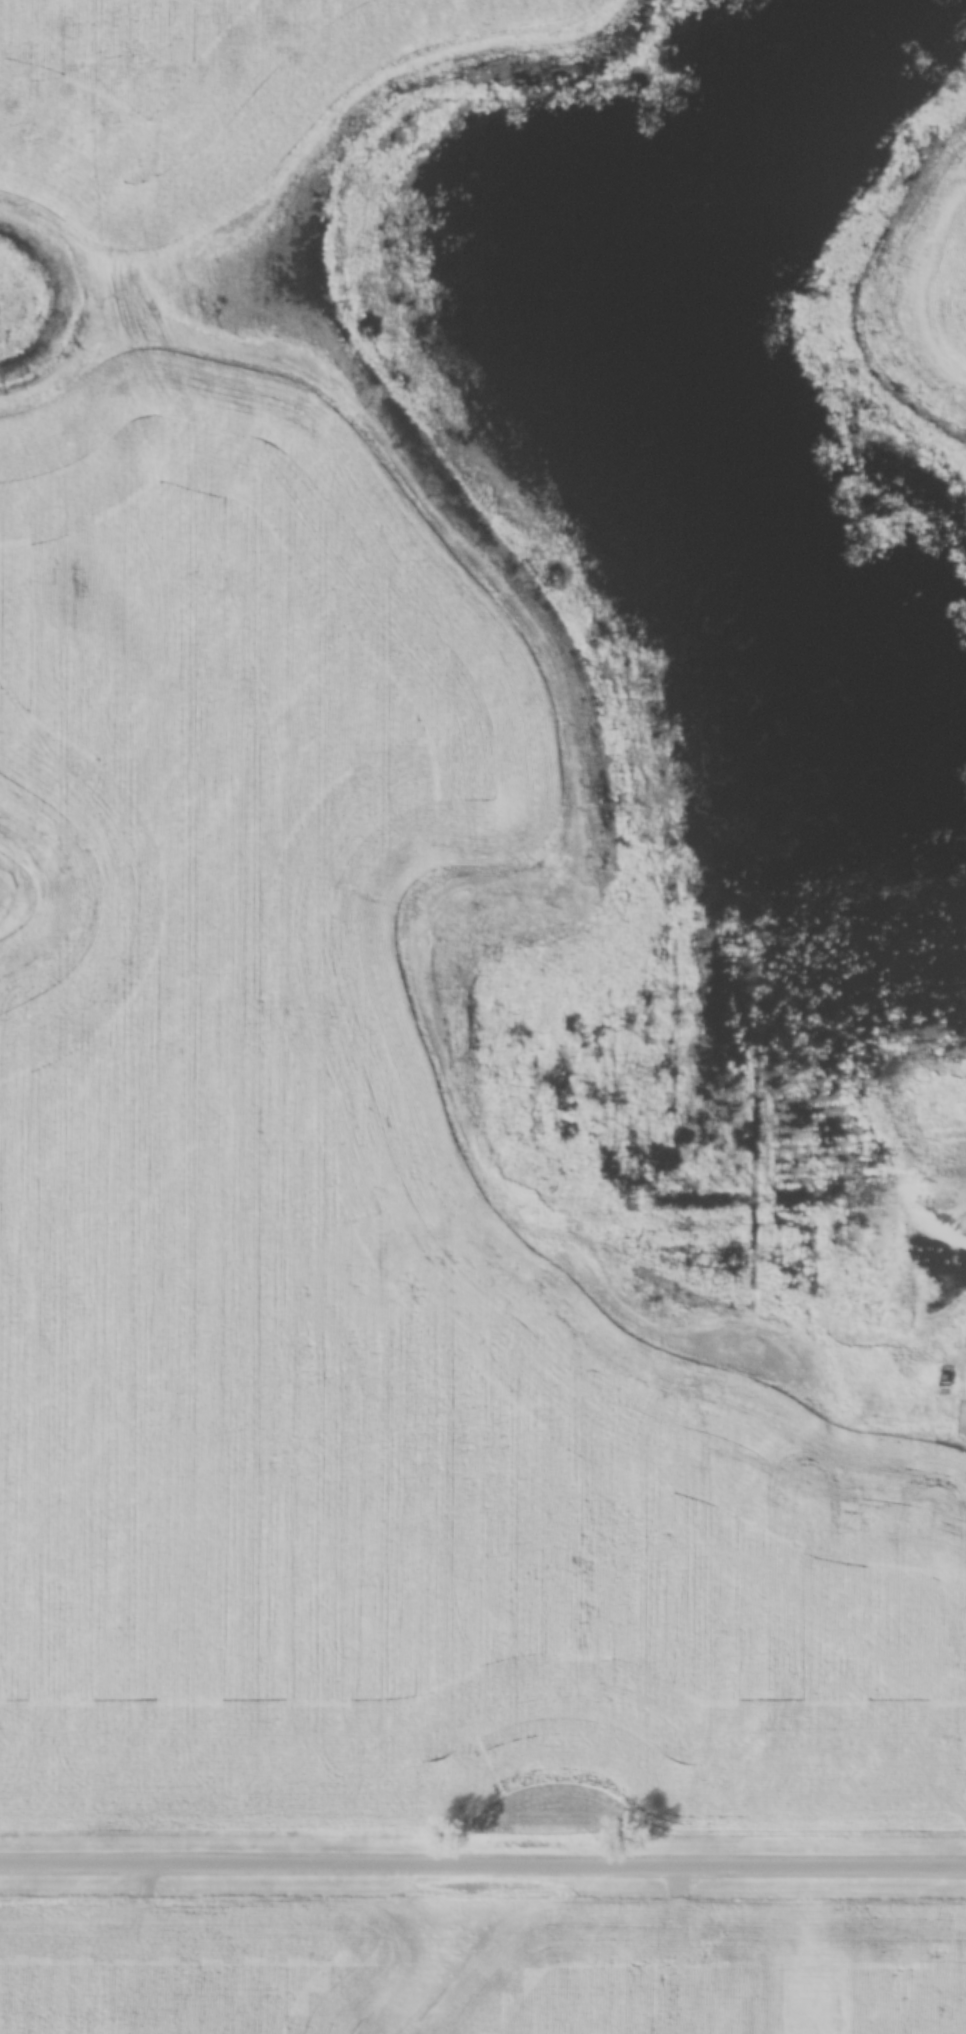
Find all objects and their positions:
road: (483, 1867)

